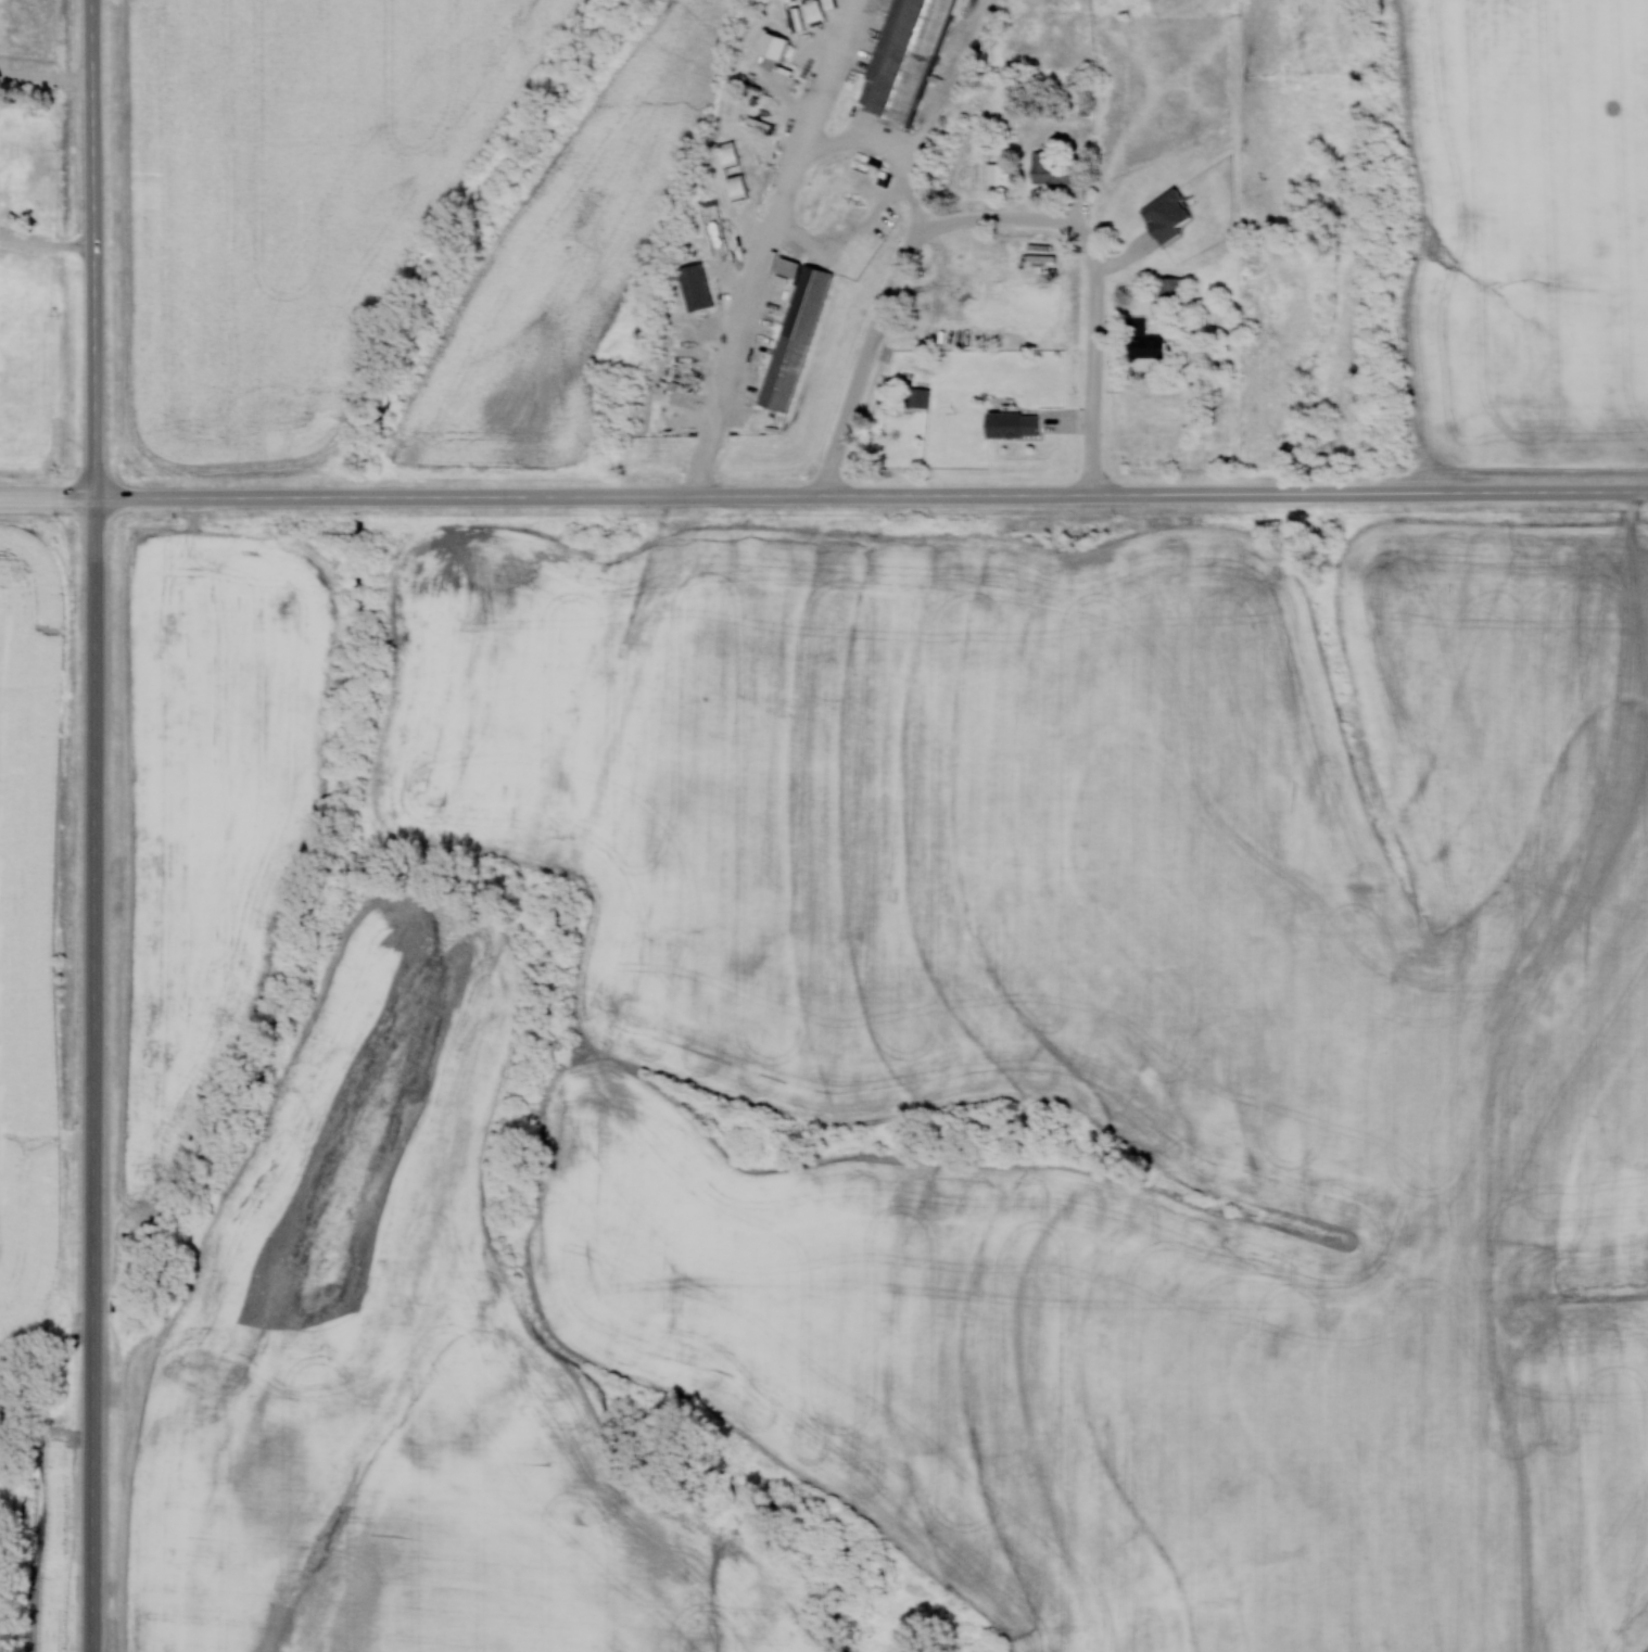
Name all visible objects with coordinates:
building: (770, 45)
building: (903, 58)
building: (1050, 170)
building: (996, 174)
building: (1165, 216)
road: (1003, 218)
building: (713, 231)
road: (47, 242)
building: (787, 266)
building: (1166, 287)
building: (695, 291)
building: (794, 338)
building: (1143, 341)
road: (862, 361)
road: (1092, 366)
building: (918, 397)
building: (1012, 424)
road: (871, 493)
road: (48, 497)
road: (94, 825)

